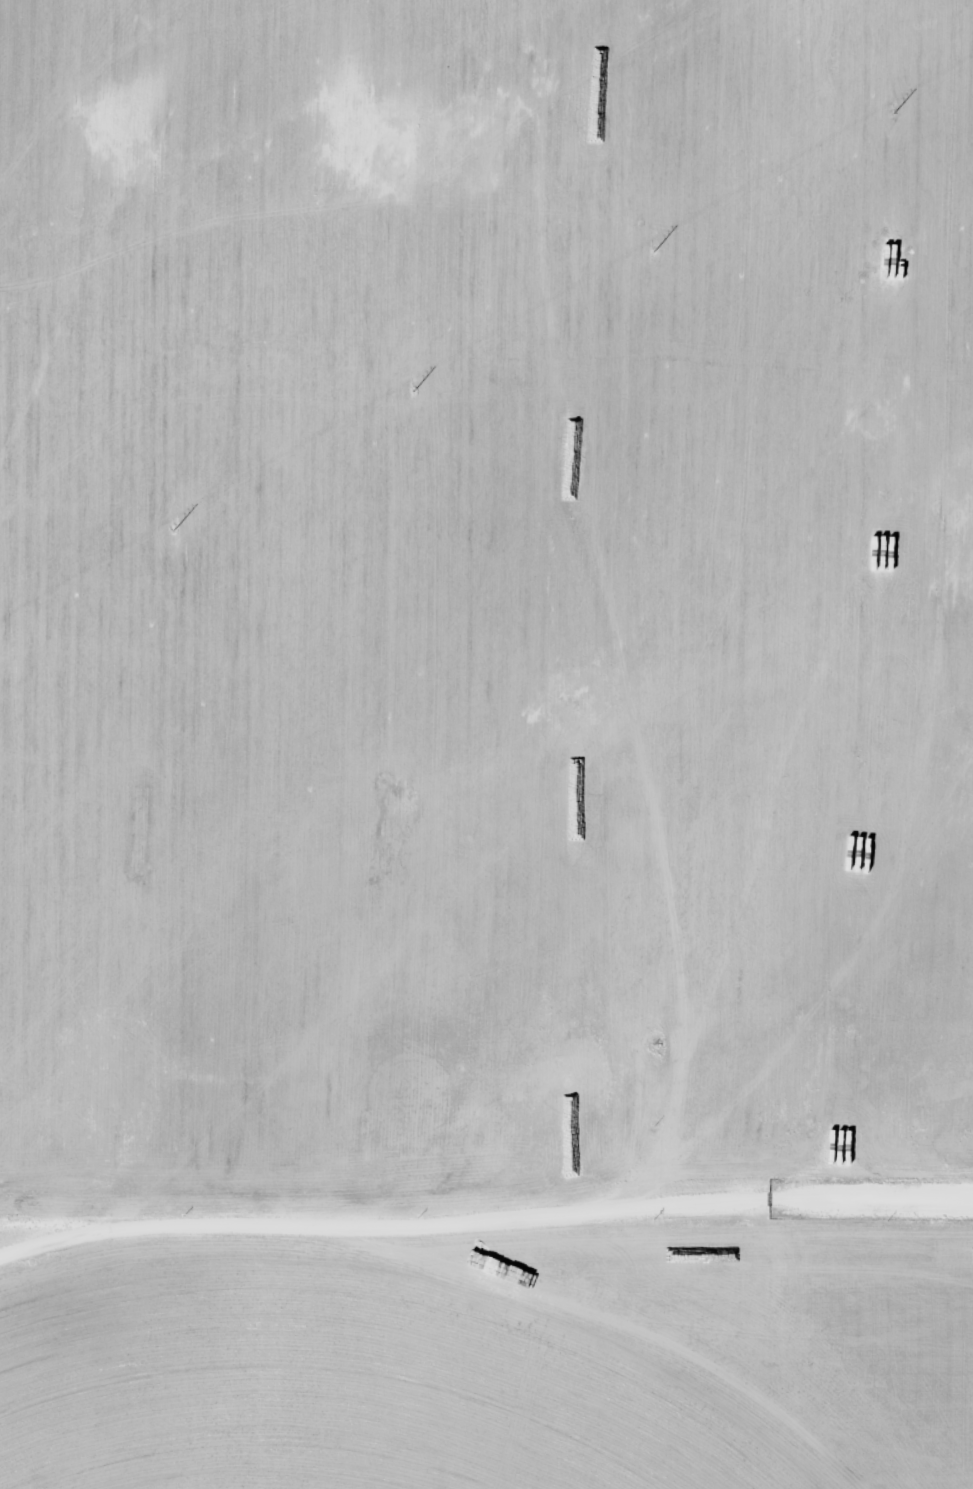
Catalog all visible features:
power tower: (765, 180)
power tower: (495, 336)
power tower: (226, 492)

